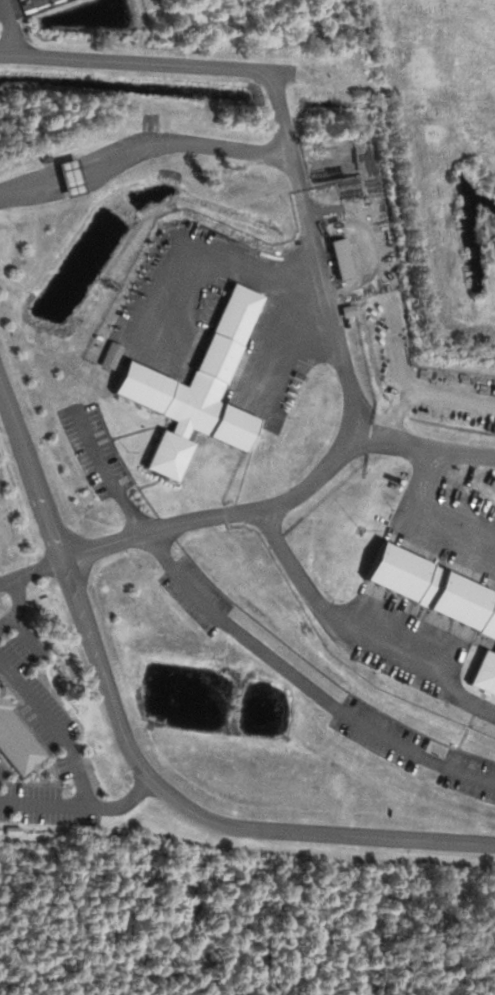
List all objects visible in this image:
road: (284, 123)
building: (68, 178)
road: (369, 238)
building: (339, 259)
road: (413, 385)
building: (196, 391)
road: (397, 411)
road: (428, 449)
road: (105, 473)
road: (222, 514)
road: (7, 580)
road: (14, 580)
building: (432, 587)
building: (483, 671)
road: (302, 682)
road: (55, 725)
building: (16, 739)
road: (133, 752)
road: (79, 805)

